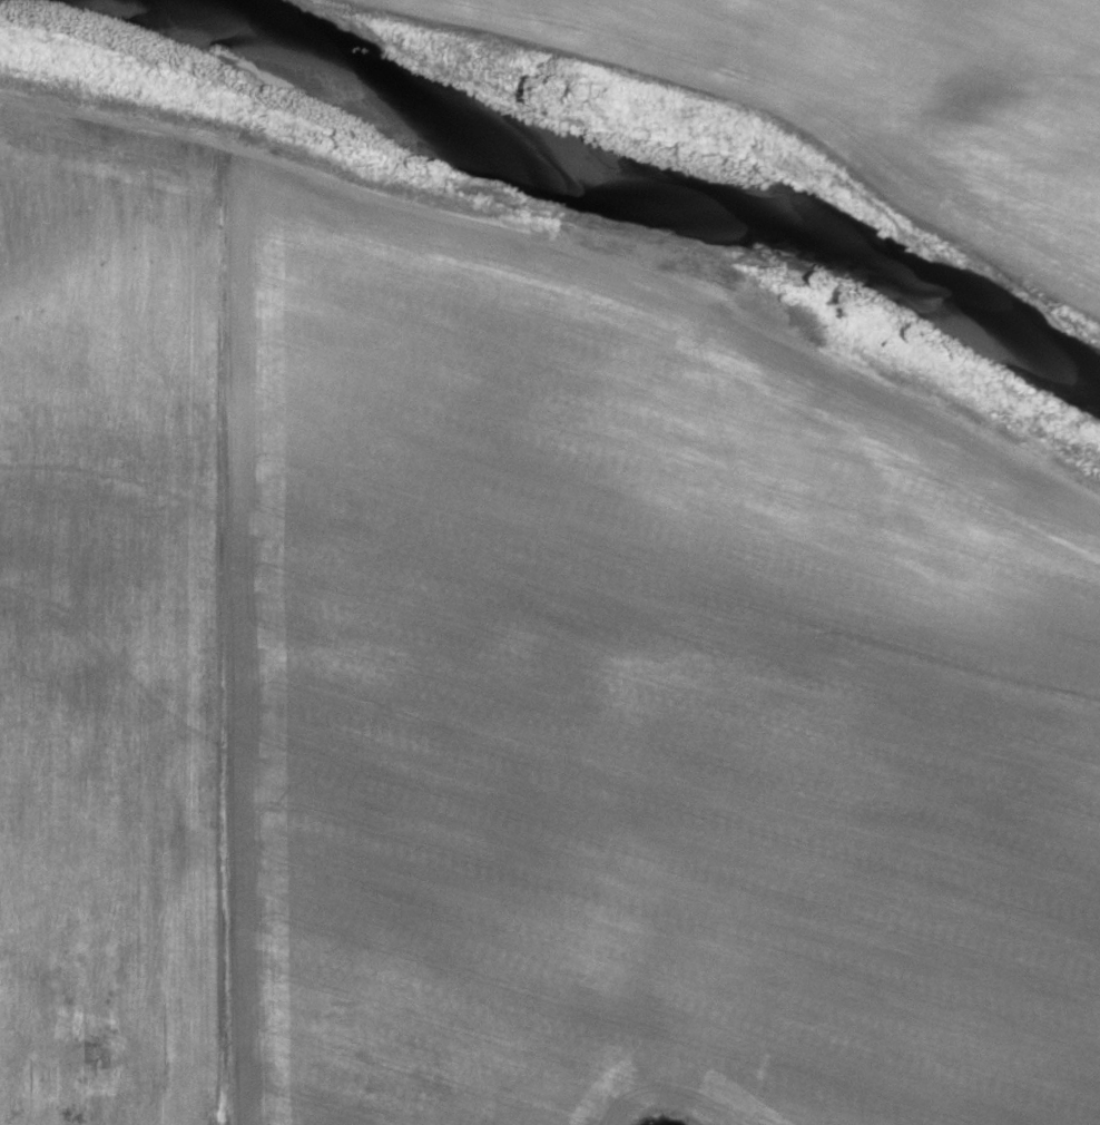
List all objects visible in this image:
river: (616, 155)

